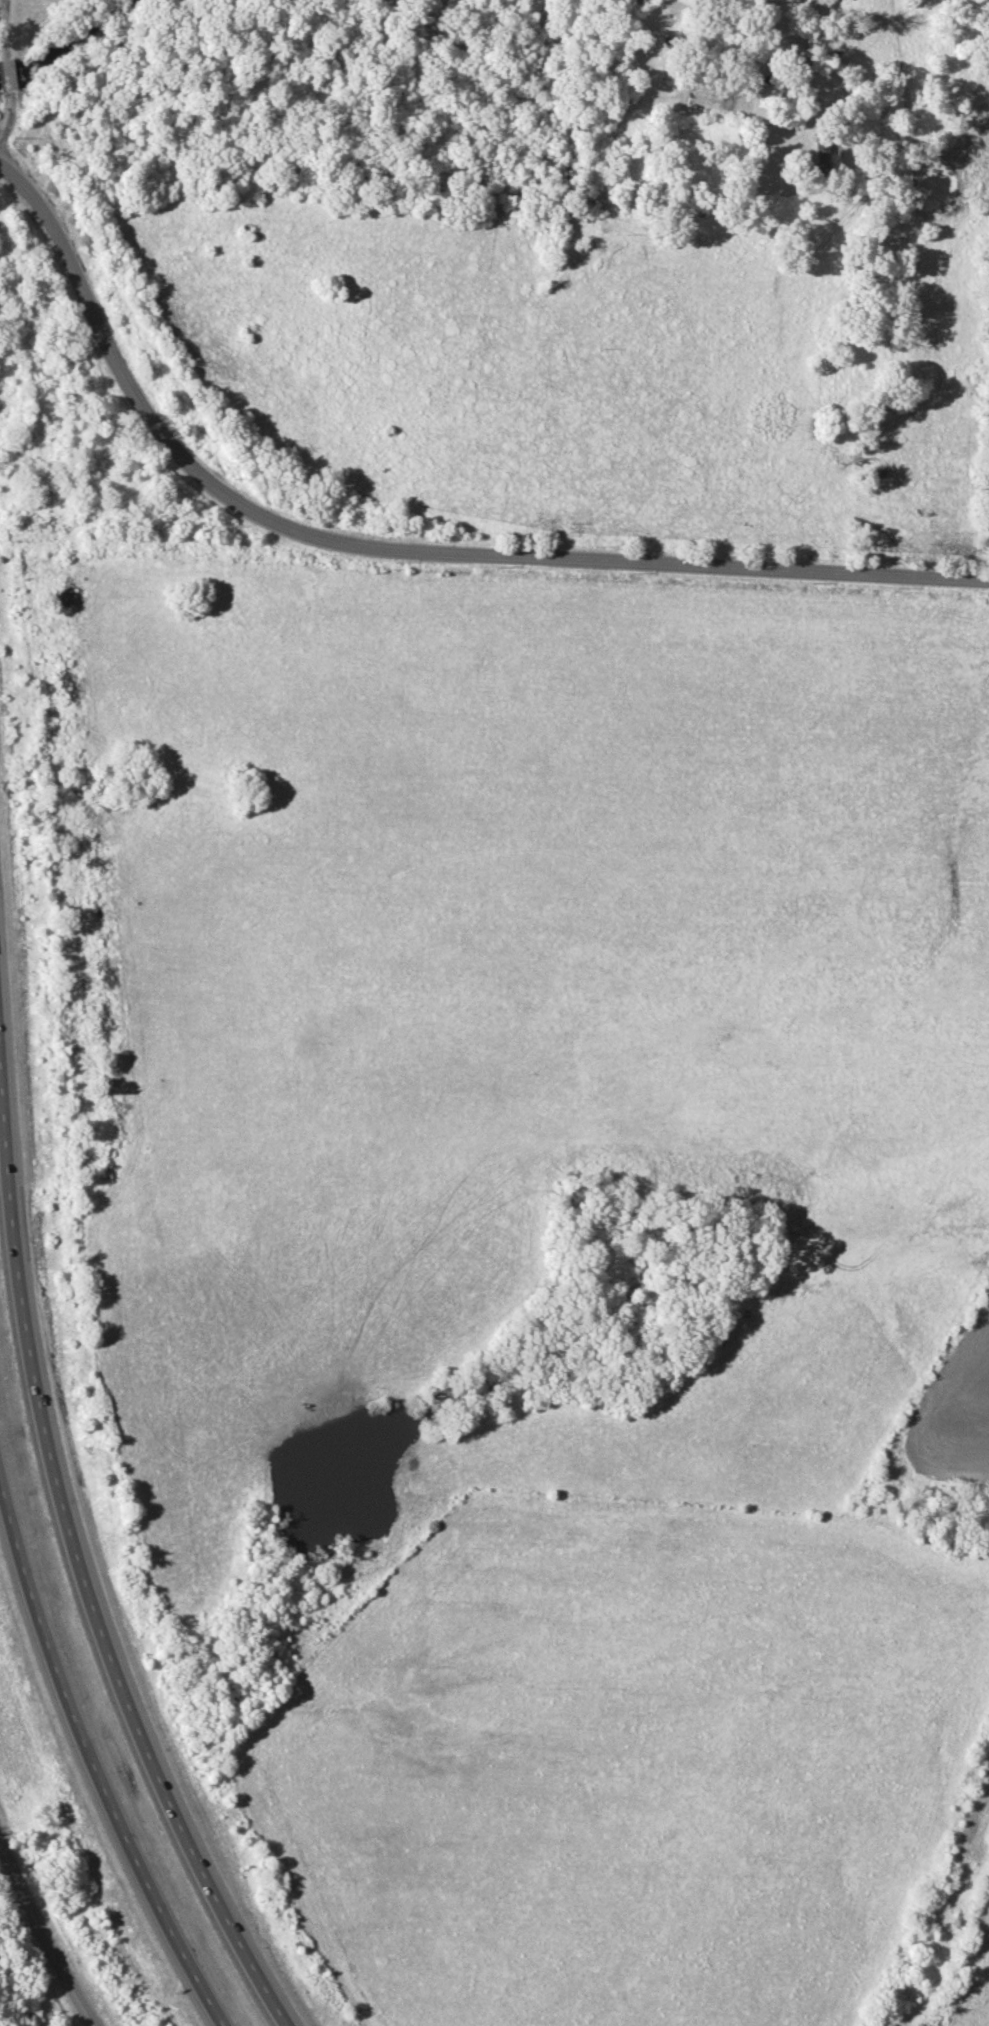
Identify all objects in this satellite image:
road: (717, 1)
road: (747, 2)
road: (691, 7)
road: (4, 30)
road: (827, 39)
road: (6, 74)
road: (7, 114)
building: (822, 155)
road: (397, 551)
road: (83, 1572)
road: (87, 1749)
road: (42, 1941)

